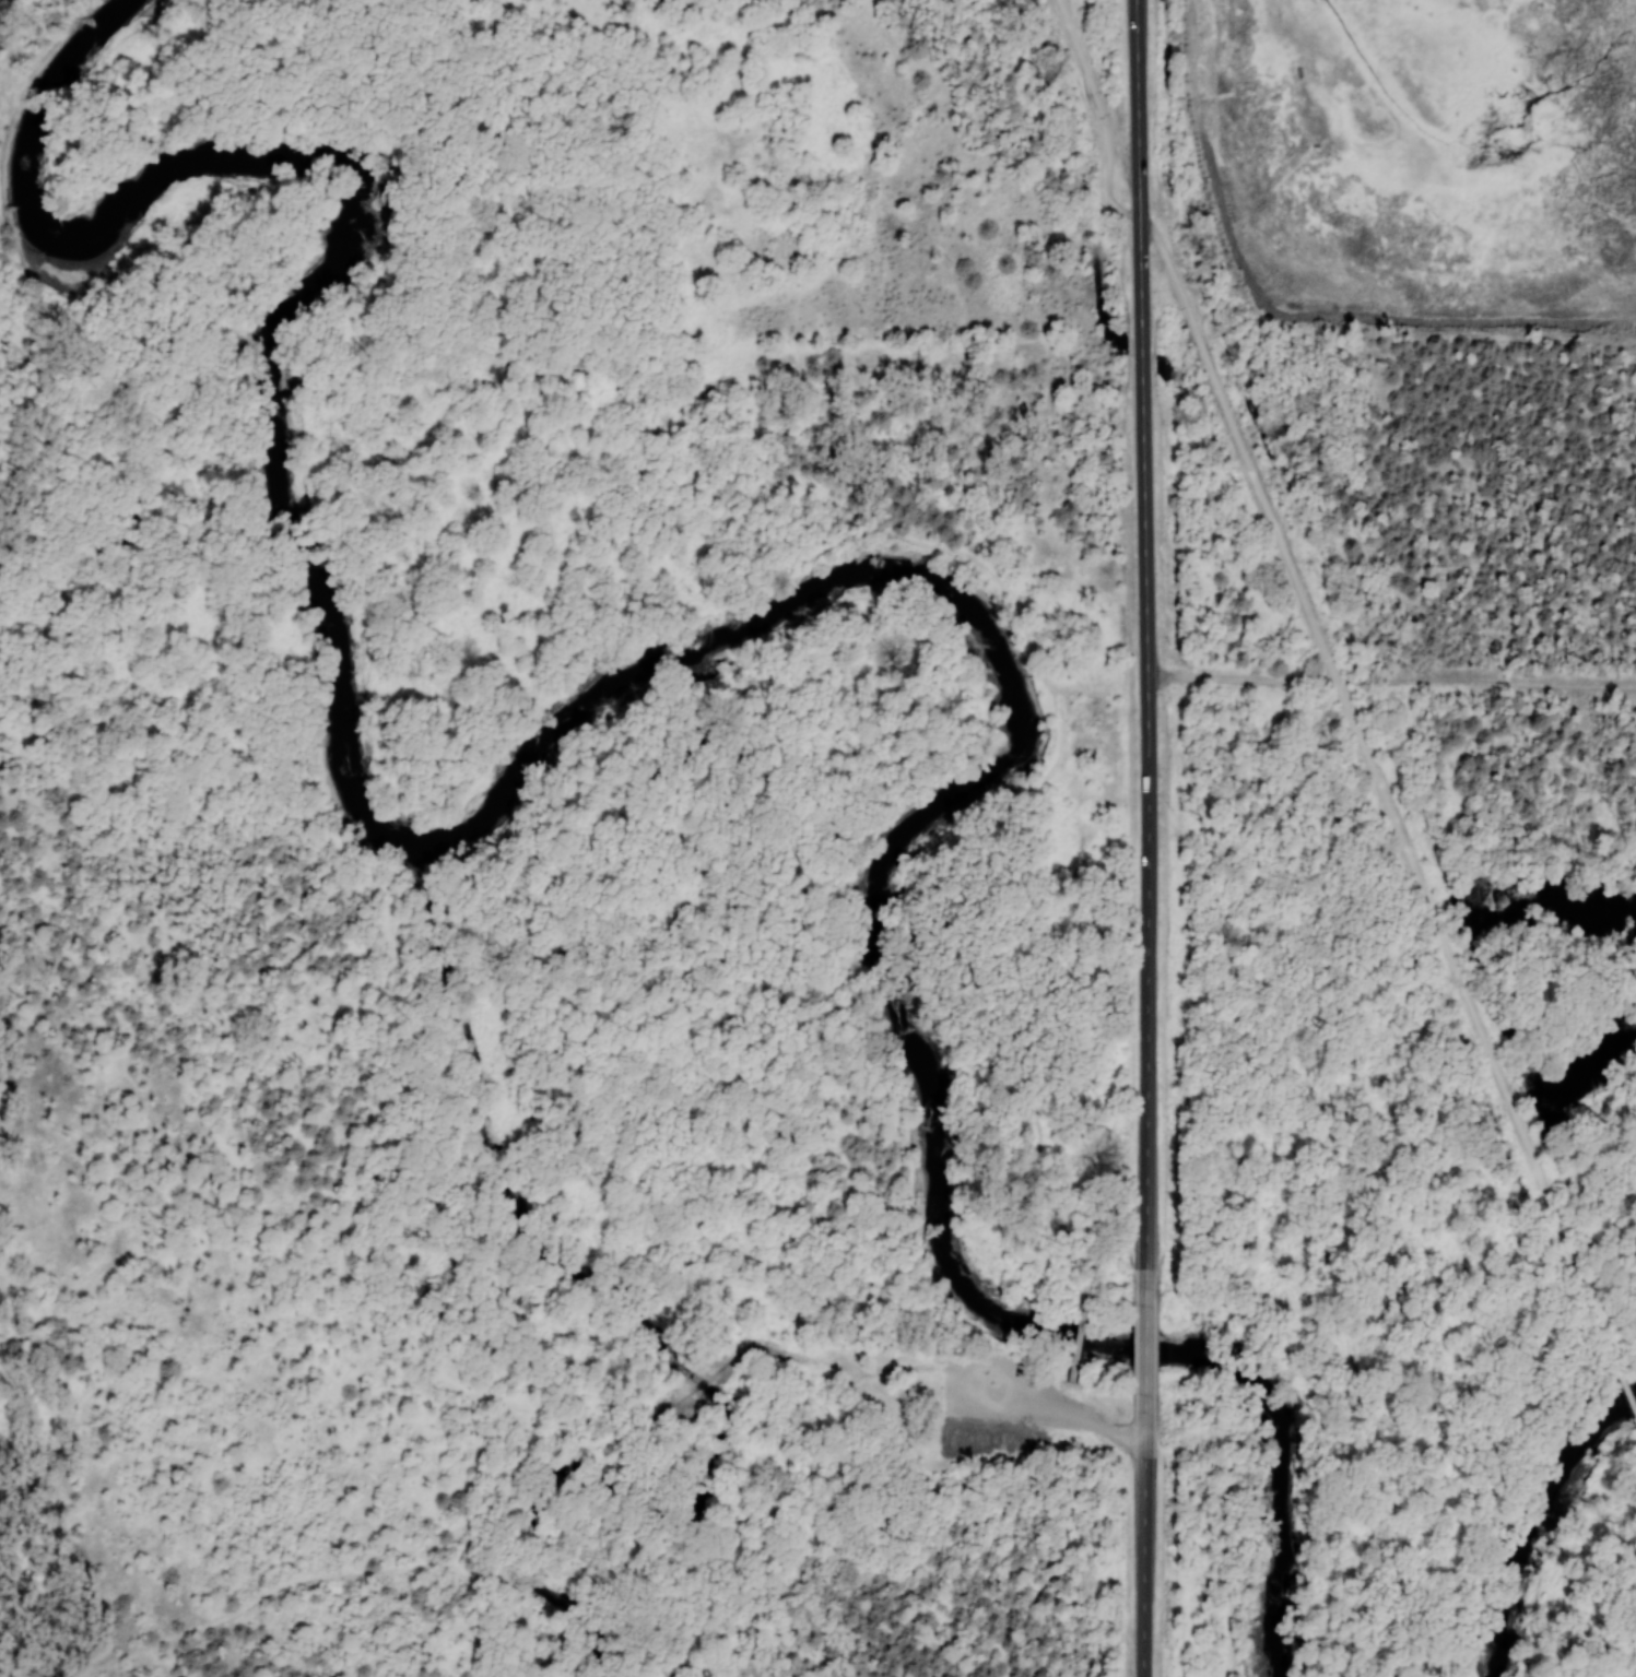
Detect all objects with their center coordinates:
road: (1104, 114)
park: (1415, 149)
river: (365, 225)
road: (838, 535)
road: (1145, 652)
road: (1391, 680)
river: (633, 681)
road: (1378, 782)
park: (139, 988)
river: (939, 1166)
road: (1075, 1337)
road: (1144, 1349)
road: (716, 1370)
road: (834, 1374)
road: (1623, 1381)
parking lot: (1007, 1391)
road: (1064, 1394)
road: (666, 1402)
road: (1048, 1403)
road: (528, 1469)
river: (1537, 1522)
road: (1228, 1528)
road: (1144, 1536)
road: (1055, 1546)
road: (262, 1593)
road: (505, 1608)
road: (10, 1667)

